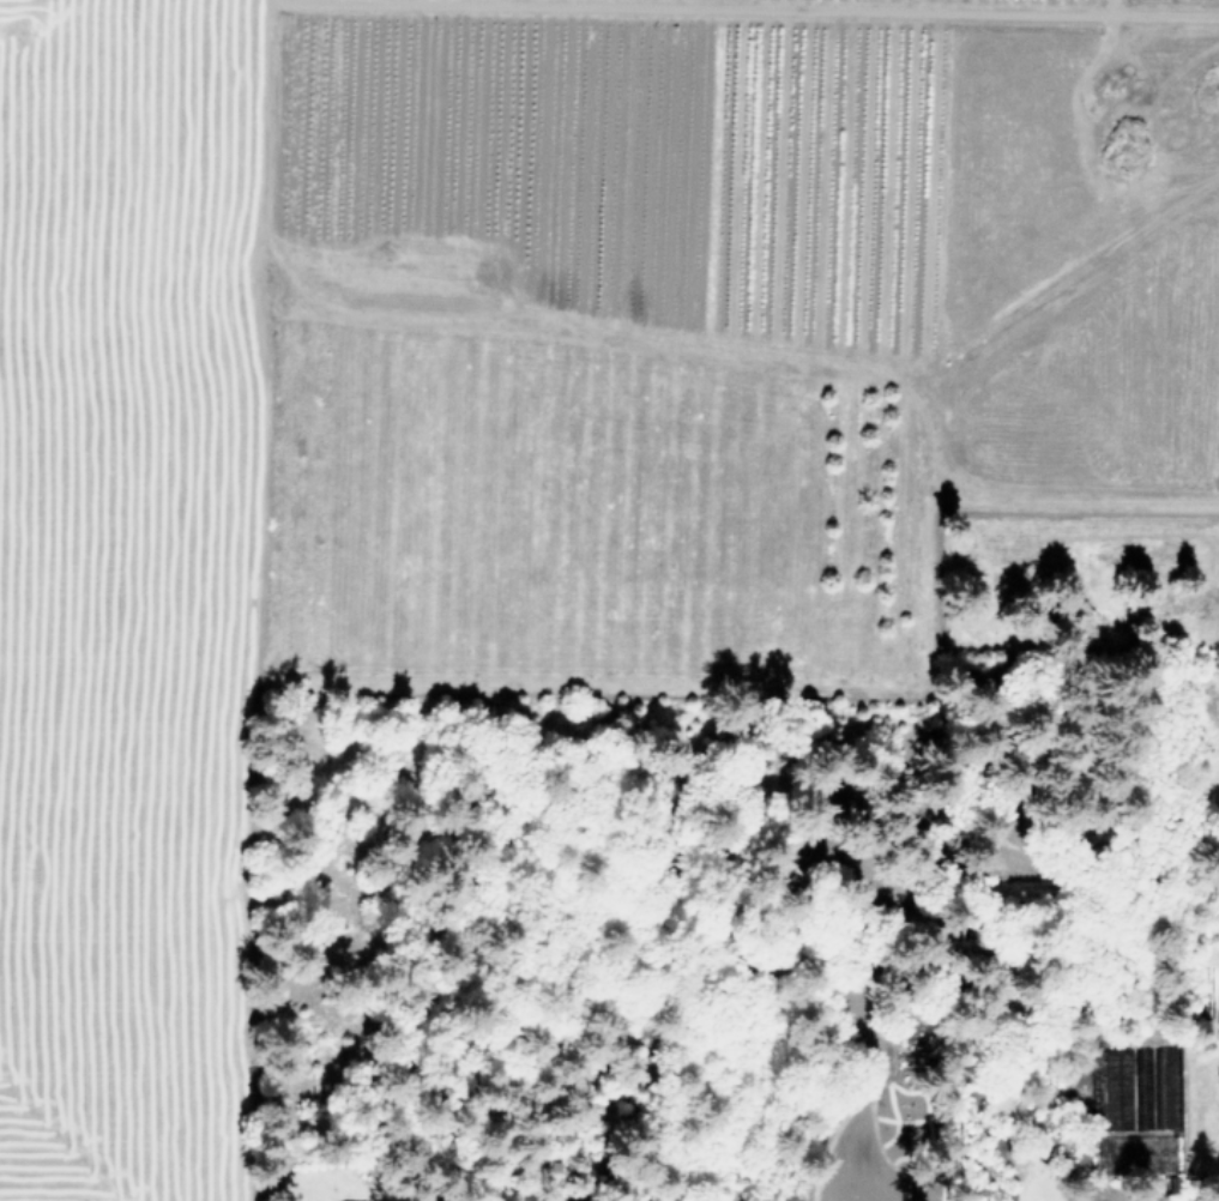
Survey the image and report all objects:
crop: (535, 398)
building: (1165, 1086)
building: (1141, 1087)
building: (1116, 1088)
building: (362, 1200)

